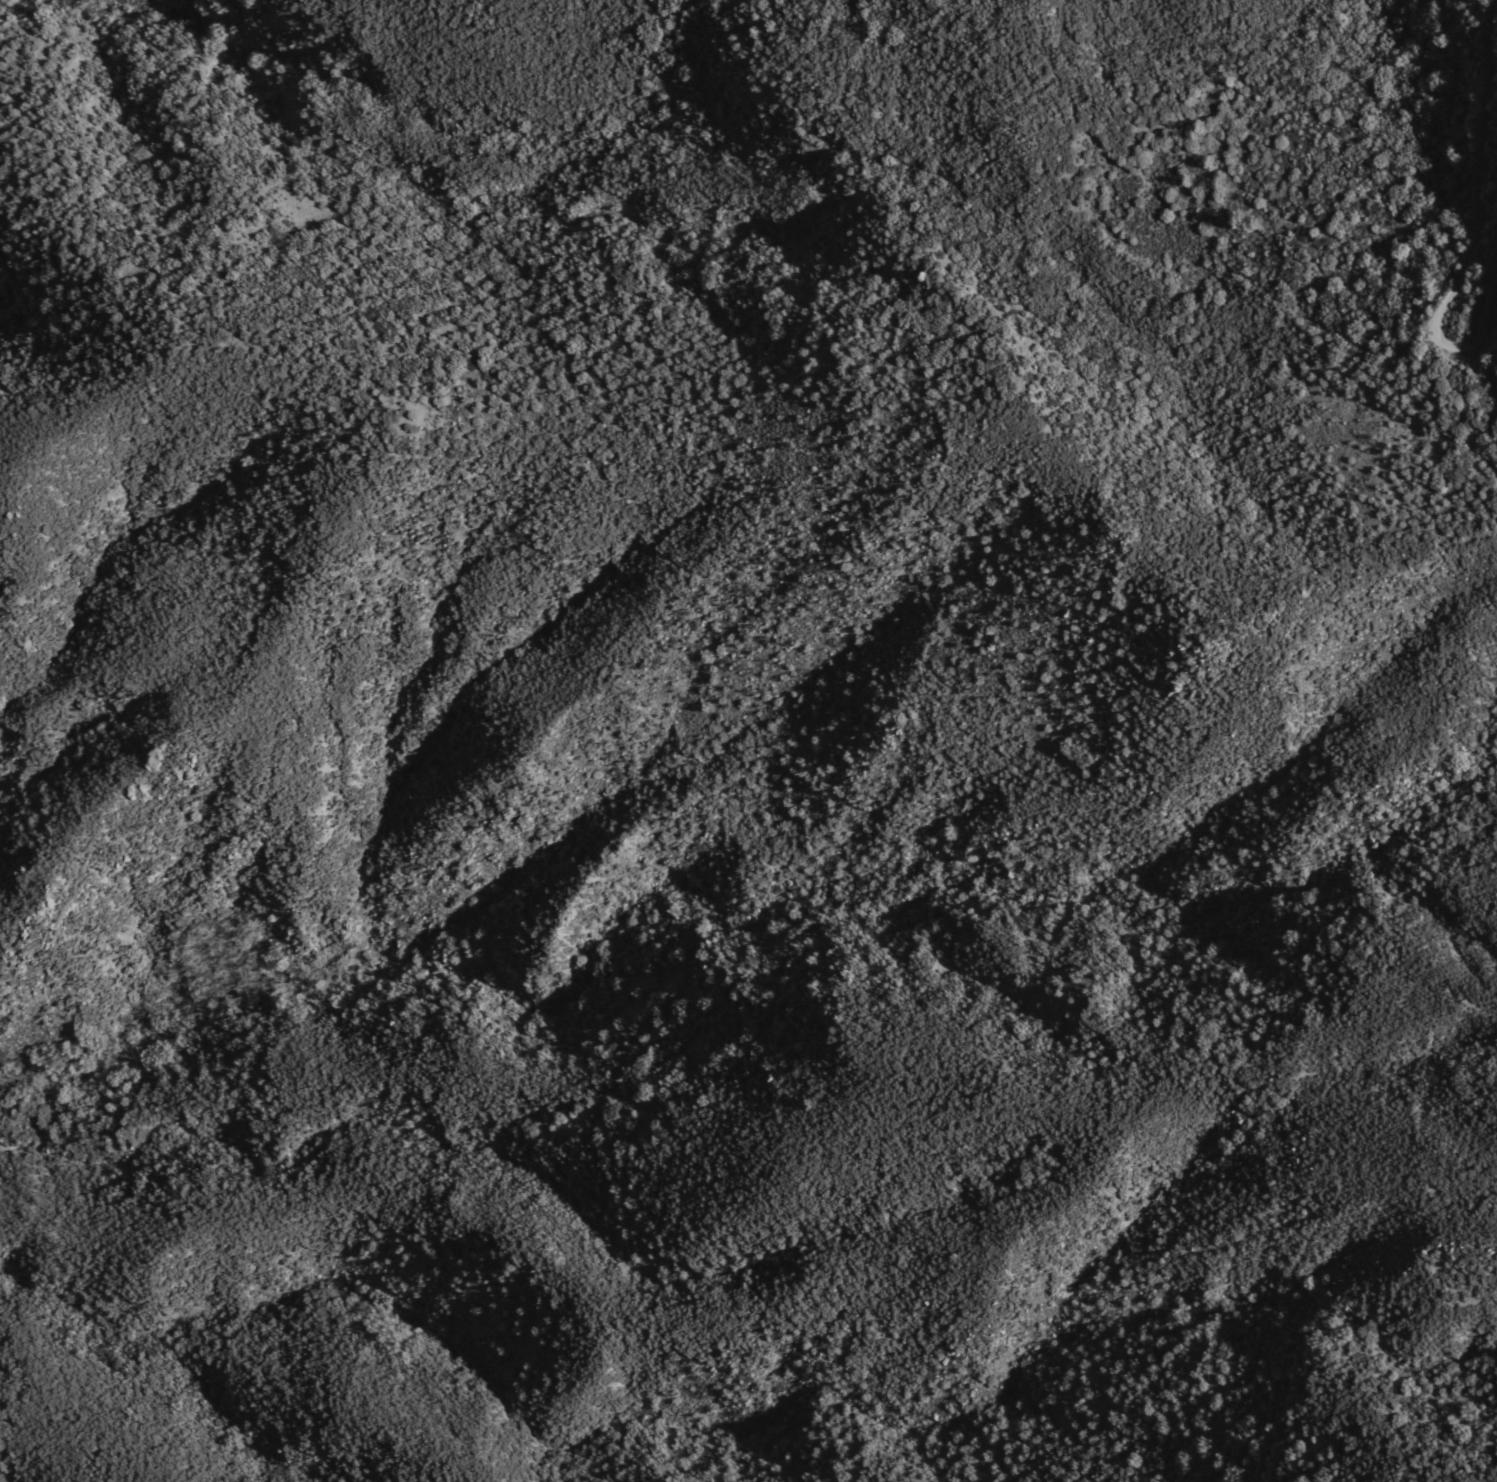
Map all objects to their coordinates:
road: (1474, 250)

